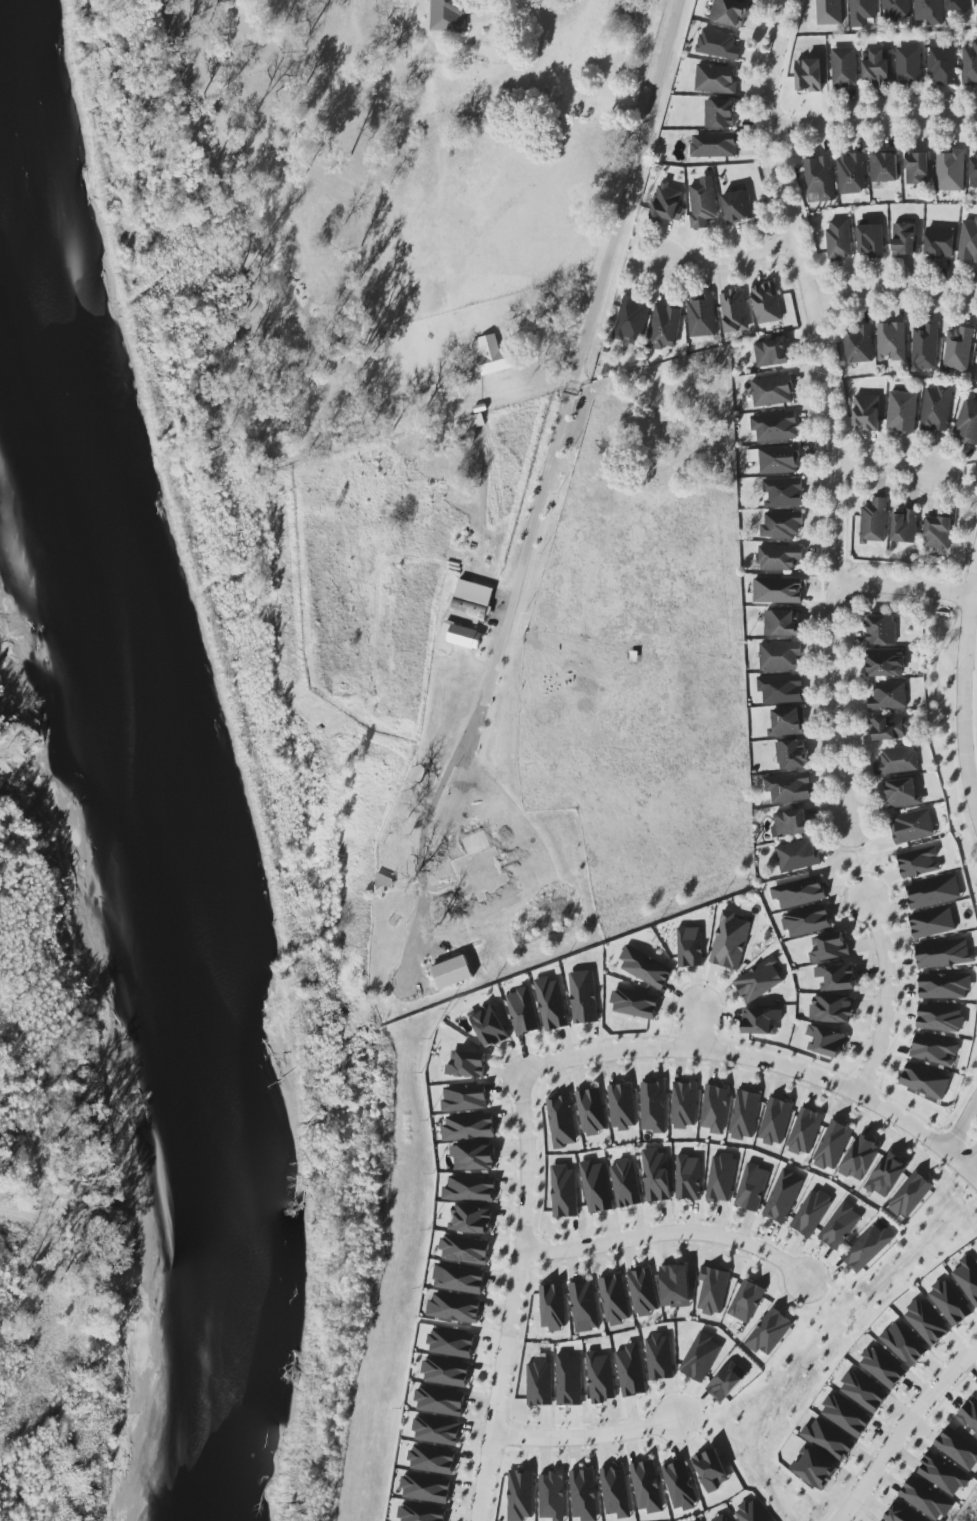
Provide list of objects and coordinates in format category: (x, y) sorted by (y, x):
building: (959, 5)
building: (895, 9)
building: (729, 11)
building: (929, 11)
building: (829, 12)
building: (861, 12)
building: (448, 15)
building: (718, 45)
building: (941, 63)
building: (970, 65)
building: (908, 66)
building: (844, 67)
building: (876, 67)
building: (809, 75)
building: (716, 79)
building: (720, 113)
road: (872, 118)
building: (715, 145)
building: (884, 167)
building: (917, 168)
building: (951, 170)
building: (973, 172)
building: (851, 174)
building: (821, 178)
building: (702, 204)
building: (667, 205)
building: (738, 207)
building: (870, 239)
building: (904, 239)
building: (839, 240)
building: (940, 242)
building: (968, 242)
road: (727, 260)
road: (893, 290)
building: (767, 304)
building: (735, 312)
building: (702, 316)
building: (631, 320)
building: (665, 327)
road: (549, 329)
building: (892, 341)
building: (859, 343)
building: (925, 347)
building: (958, 350)
building: (772, 354)
building: (492, 355)
building: (976, 371)
building: (772, 391)
road: (573, 404)
building: (936, 408)
road: (830, 410)
building: (901, 412)
building: (866, 413)
building: (670, 414)
building: (967, 423)
building: (776, 427)
building: (780, 460)
road: (887, 465)
building: (783, 493)
building: (874, 521)
building: (781, 525)
building: (905, 526)
building: (937, 535)
building: (780, 558)
road: (903, 587)
building: (778, 590)
building: (781, 620)
building: (881, 626)
building: (461, 635)
building: (780, 655)
building: (884, 660)
road: (964, 688)
building: (781, 689)
building: (888, 696)
building: (788, 719)
building: (889, 728)
building: (791, 751)
river: (161, 755)
building: (897, 760)
building: (789, 786)
building: (902, 793)
building: (790, 823)
building: (912, 827)
building: (797, 854)
building: (919, 862)
building: (381, 885)
building: (934, 890)
road: (438, 892)
building: (799, 892)
building: (807, 921)
building: (933, 922)
building: (731, 937)
building: (830, 945)
building: (690, 947)
building: (944, 954)
building: (646, 965)
building: (835, 977)
building: (759, 980)
building: (945, 984)
road: (888, 996)
building: (584, 997)
building: (551, 1003)
building: (635, 1004)
building: (831, 1008)
building: (524, 1009)
building: (940, 1018)
building: (761, 1021)
building: (489, 1026)
road: (701, 1028)
building: (827, 1038)
building: (935, 1050)
road: (764, 1061)
building: (468, 1062)
building: (925, 1081)
building: (465, 1097)
building: (682, 1104)
building: (654, 1105)
building: (622, 1106)
building: (713, 1107)
building: (592, 1111)
building: (745, 1114)
building: (775, 1119)
building: (561, 1120)
road: (962, 1122)
building: (469, 1125)
building: (805, 1132)
building: (832, 1145)
building: (474, 1154)
building: (858, 1156)
road: (973, 1162)
building: (655, 1174)
building: (886, 1176)
building: (688, 1178)
building: (721, 1178)
building: (627, 1181)
building: (596, 1185)
building: (752, 1186)
building: (471, 1187)
building: (564, 1191)
building: (782, 1195)
building: (911, 1195)
building: (811, 1210)
building: (472, 1220)
building: (840, 1224)
road: (670, 1232)
building: (867, 1247)
building: (464, 1249)
building: (976, 1257)
building: (459, 1278)
building: (968, 1278)
building: (676, 1283)
building: (713, 1287)
building: (643, 1290)
road: (516, 1297)
building: (614, 1297)
building: (746, 1299)
building: (951, 1300)
building: (583, 1304)
building: (454, 1305)
building: (552, 1307)
building: (926, 1323)
building: (769, 1329)
building: (451, 1343)
building: (903, 1344)
building: (659, 1355)
building: (700, 1355)
building: (883, 1367)
building: (446, 1370)
building: (631, 1371)
building: (599, 1376)
building: (568, 1378)
building: (727, 1380)
building: (539, 1383)
building: (863, 1392)
building: (441, 1399)
building: (969, 1412)
building: (846, 1414)
building: (437, 1428)
road: (902, 1430)
road: (586, 1437)
building: (829, 1438)
building: (958, 1446)
building: (432, 1459)
building: (710, 1466)
building: (814, 1468)
building: (943, 1473)
building: (646, 1485)
building: (680, 1486)
building: (426, 1488)
building: (615, 1491)
building: (520, 1495)
building: (583, 1495)
building: (552, 1496)
building: (926, 1498)
building: (751, 1512)
building: (903, 1512)
building: (421, 1513)
building: (725, 1518)

